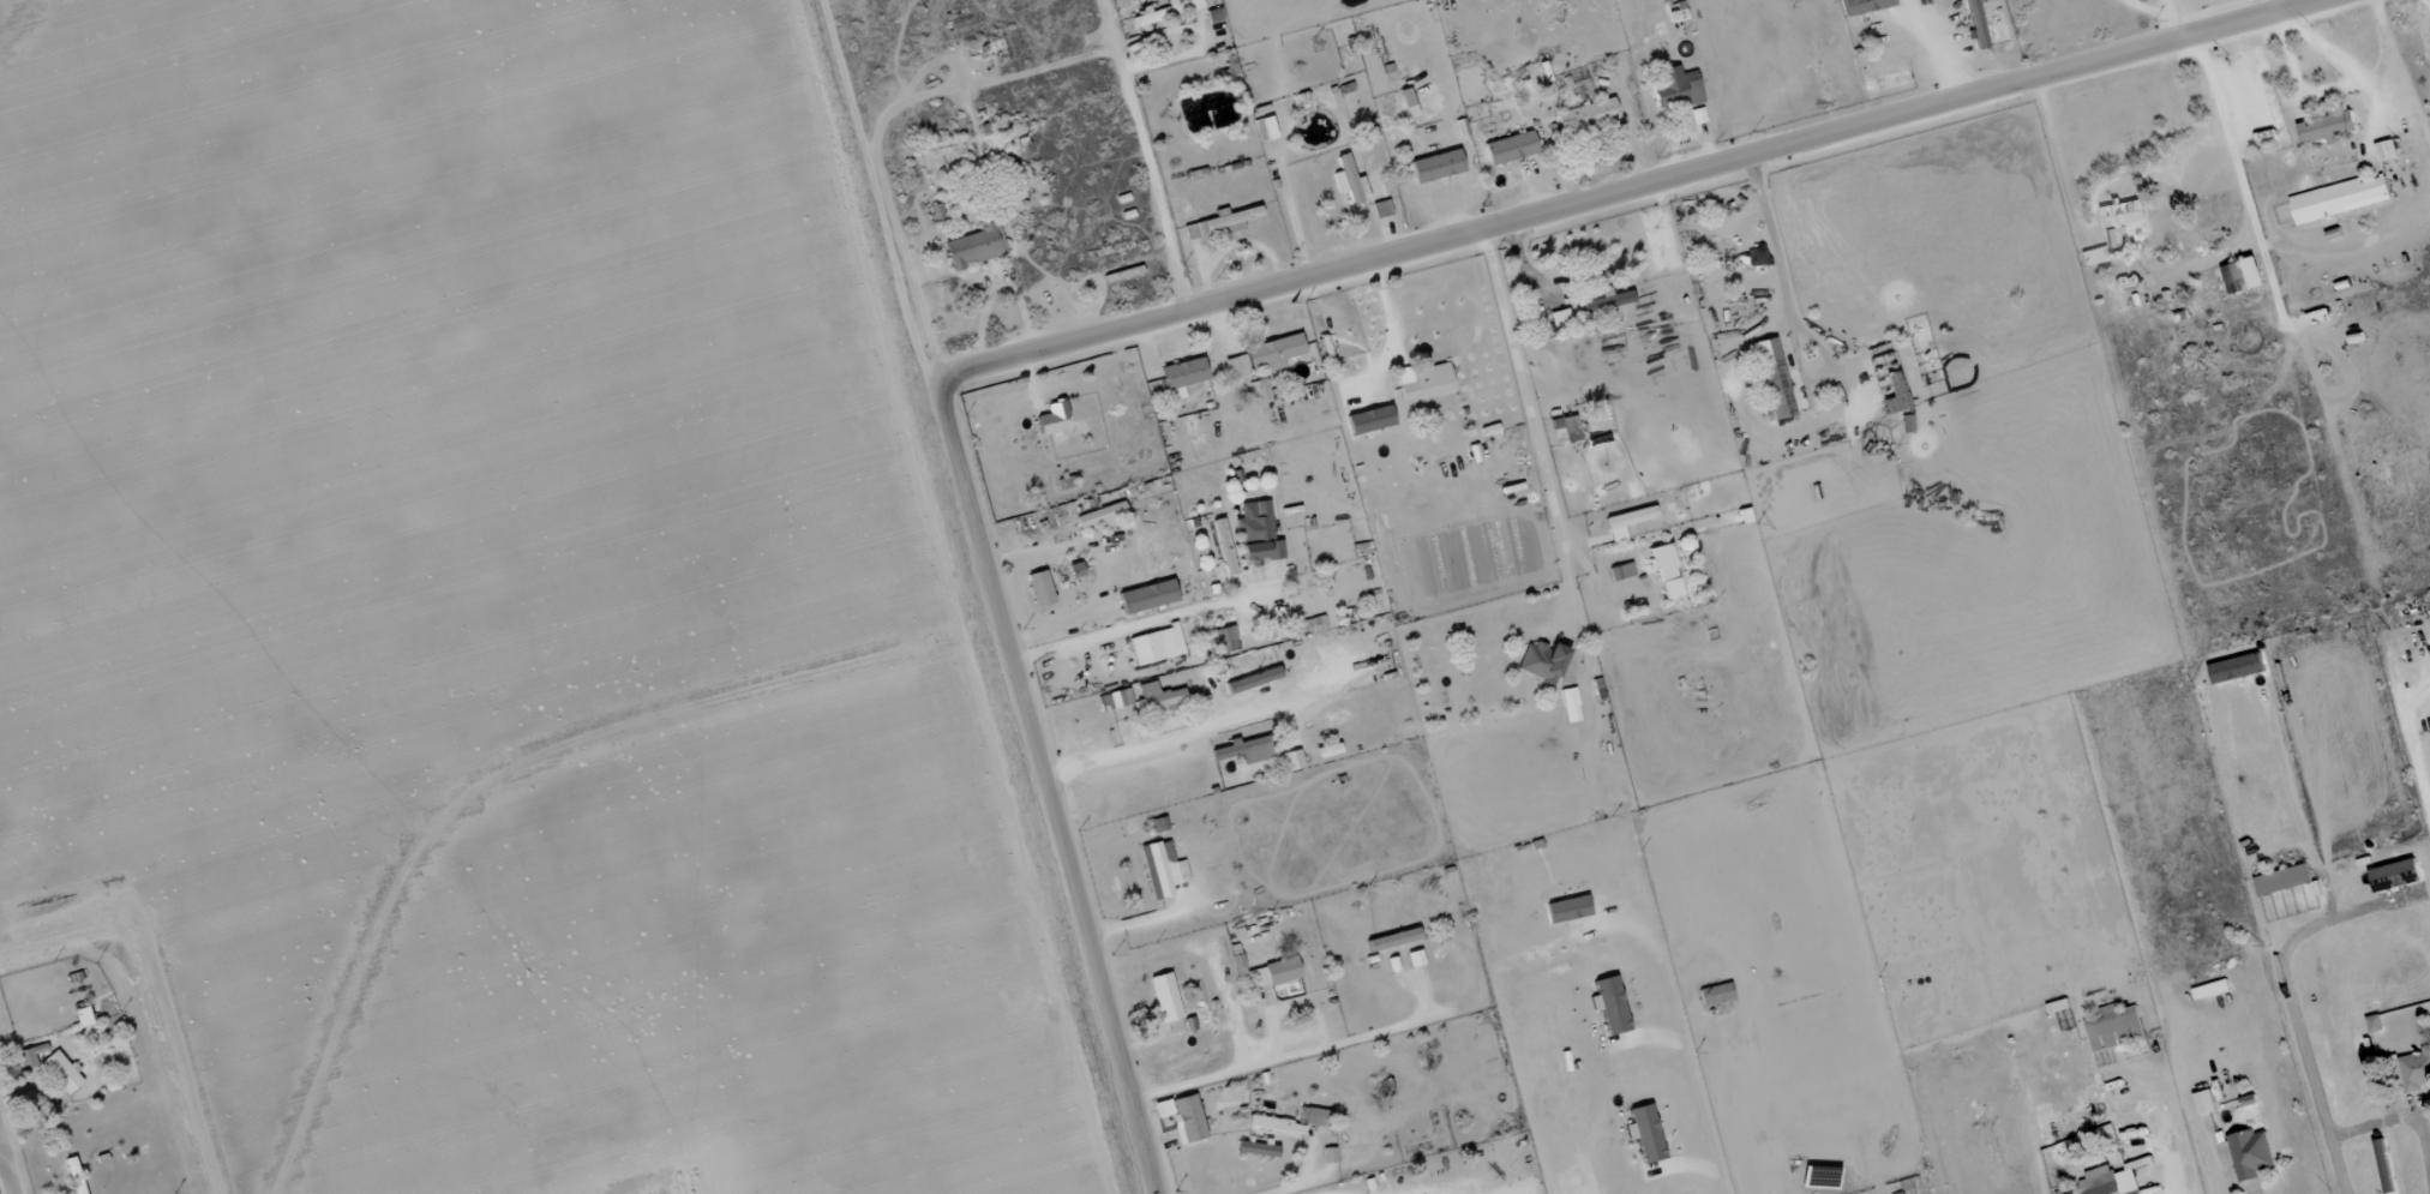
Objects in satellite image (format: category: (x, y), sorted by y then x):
building: (1193, 5)
building: (1862, 6)
building: (1154, 13)
building: (1974, 23)
building: (1884, 58)
road: (1168, 60)
building: (1674, 89)
building: (1585, 116)
building: (1697, 116)
building: (2327, 128)
building: (1264, 130)
building: (1508, 149)
building: (2386, 151)
road: (1147, 157)
building: (1435, 167)
building: (1195, 175)
building: (1348, 181)
road: (1655, 192)
building: (2338, 199)
building: (1380, 209)
building: (935, 211)
building: (2124, 214)
building: (1219, 223)
building: (974, 247)
building: (2092, 257)
building: (2243, 276)
road: (997, 290)
building: (1612, 299)
building: (1558, 318)
road: (1789, 320)
road: (1390, 332)
building: (1273, 350)
building: (1235, 368)
building: (1181, 377)
building: (1771, 379)
building: (1422, 382)
building: (1261, 389)
building: (1892, 395)
building: (1051, 419)
building: (1368, 421)
road: (1532, 428)
building: (1488, 431)
building: (1564, 431)
building: (1099, 517)
building: (1625, 523)
building: (1255, 533)
building: (1223, 548)
building: (1074, 571)
building: (1663, 571)
building: (1620, 572)
building: (1038, 589)
building: (1146, 598)
road: (1132, 625)
building: (1223, 642)
building: (1154, 646)
building: (1540, 661)
building: (1252, 679)
building: (1156, 697)
building: (1114, 701)
building: (1570, 706)
road: (1193, 733)
building: (1244, 751)
building: (1327, 751)
building: (1291, 761)
road: (1054, 788)
building: (1158, 869)
building: (2395, 876)
building: (2282, 881)
building: (1565, 910)
building: (1391, 940)
building: (1414, 959)
building: (1271, 980)
building: (2210, 990)
building: (1714, 995)
building: (1164, 997)
building: (1608, 1004)
building: (2058, 1007)
road: (1303, 1012)
road: (2296, 1022)
building: (1172, 1026)
building: (2114, 1027)
building: (31, 1055)
building: (59, 1073)
building: (2413, 1073)
building: (2204, 1102)
building: (1162, 1109)
road: (2400, 1117)
building: (1187, 1118)
building: (1316, 1118)
building: (1274, 1124)
building: (1643, 1133)
road: (2426, 1142)
building: (1255, 1150)
road: (2, 1152)
building: (2250, 1153)
building: (1328, 1154)
road: (7, 1164)
building: (73, 1176)
building: (2108, 1182)
road: (1298, 1183)
building: (1906, 1186)

